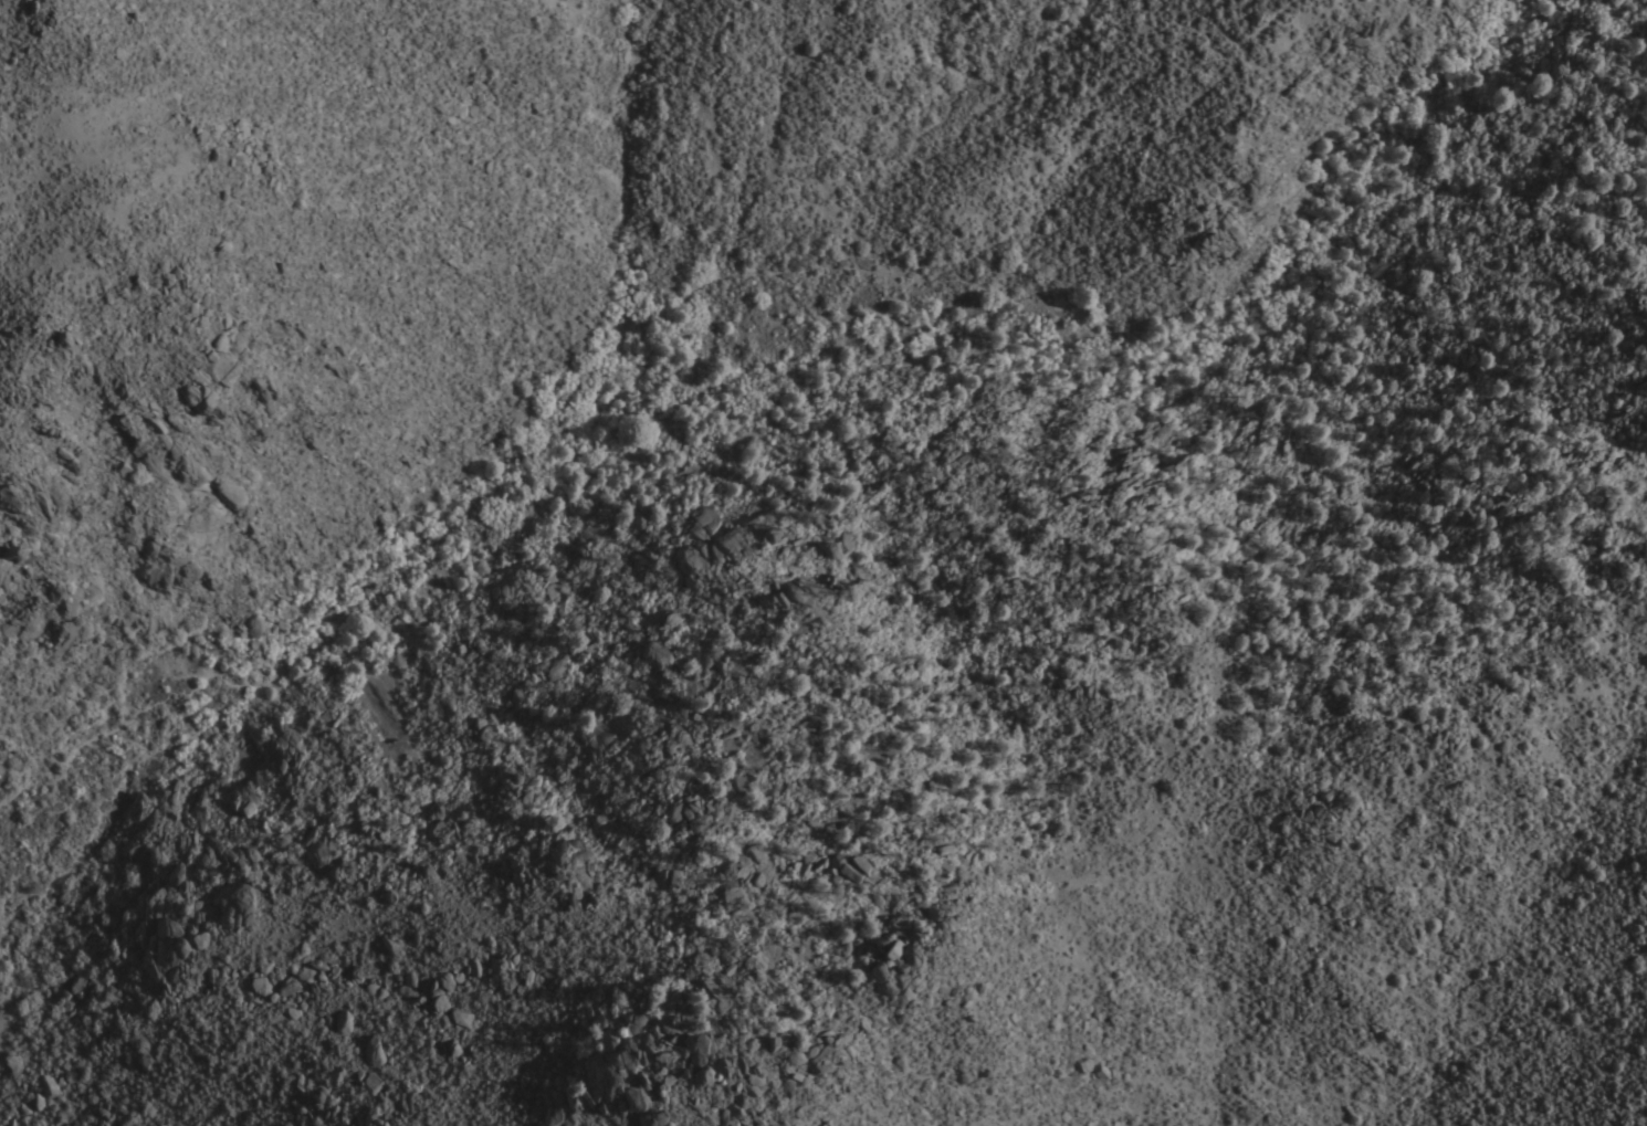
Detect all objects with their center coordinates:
road: (738, 293)
building: (706, 520)
building: (734, 547)
building: (7, 581)
building: (291, 745)
building: (242, 803)
building: (216, 857)
building: (853, 867)
building: (261, 985)
building: (461, 1018)
building: (344, 1022)
building: (374, 1050)
building: (689, 1063)
building: (371, 1081)
building: (748, 1081)
building: (637, 1106)

